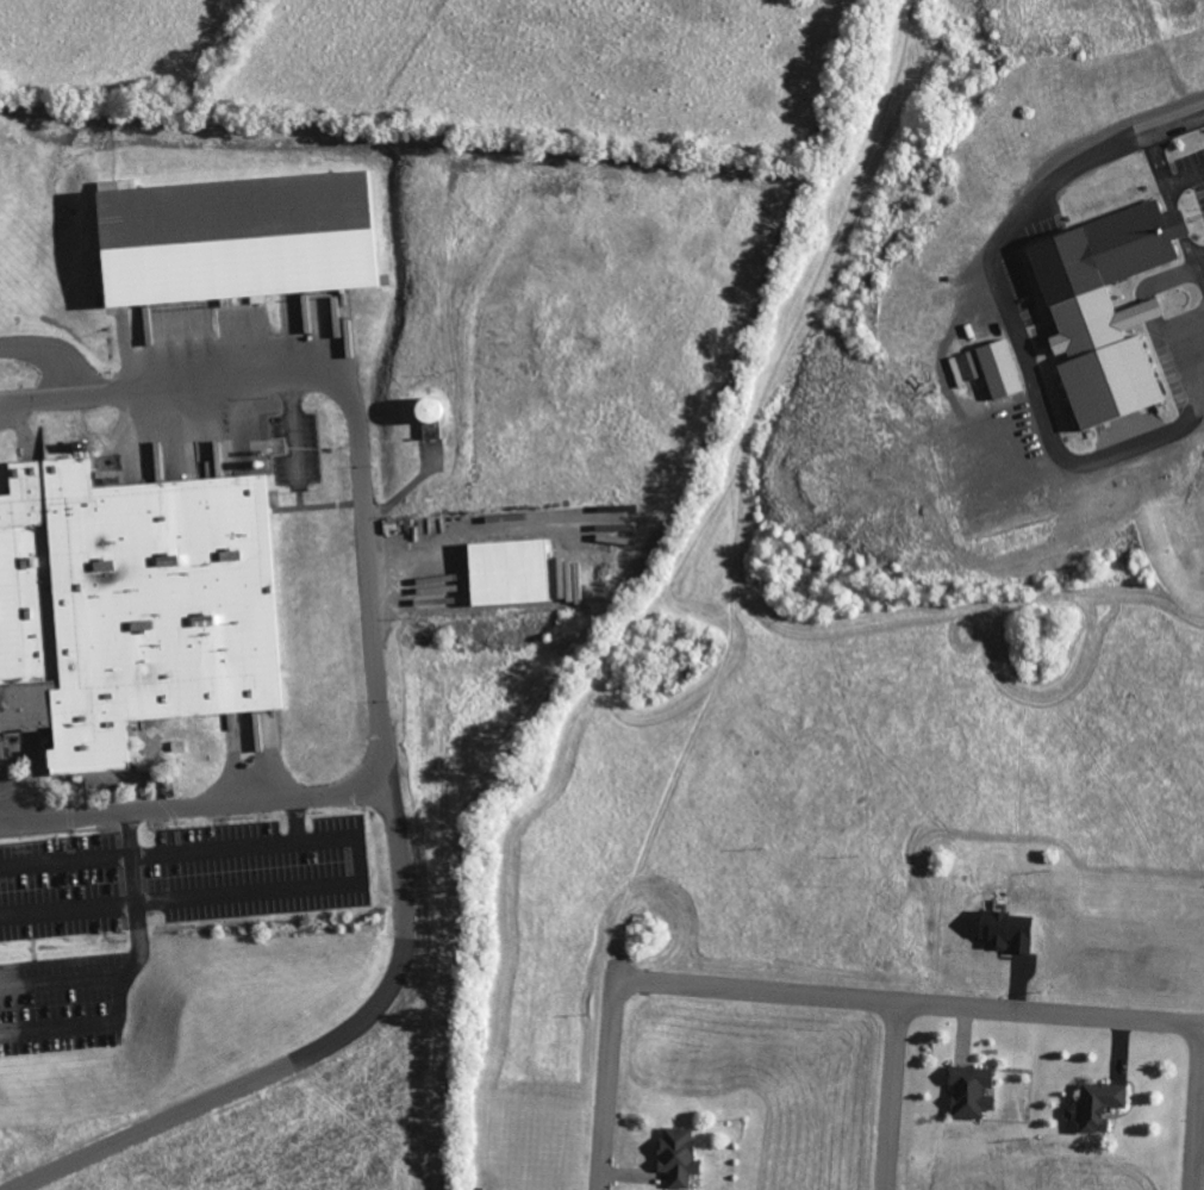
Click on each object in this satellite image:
road: (1159, 150)
building: (233, 237)
building: (1102, 305)
road: (1022, 354)
building: (971, 365)
building: (997, 368)
building: (425, 416)
building: (505, 571)
building: (569, 581)
road: (368, 597)
building: (130, 604)
road: (294, 820)
road: (387, 824)
road: (130, 856)
road: (356, 861)
building: (1003, 930)
road: (63, 982)
road: (804, 996)
road: (116, 1016)
road: (254, 1076)
building: (967, 1091)
road: (890, 1096)
road: (1196, 1108)
building: (675, 1155)

